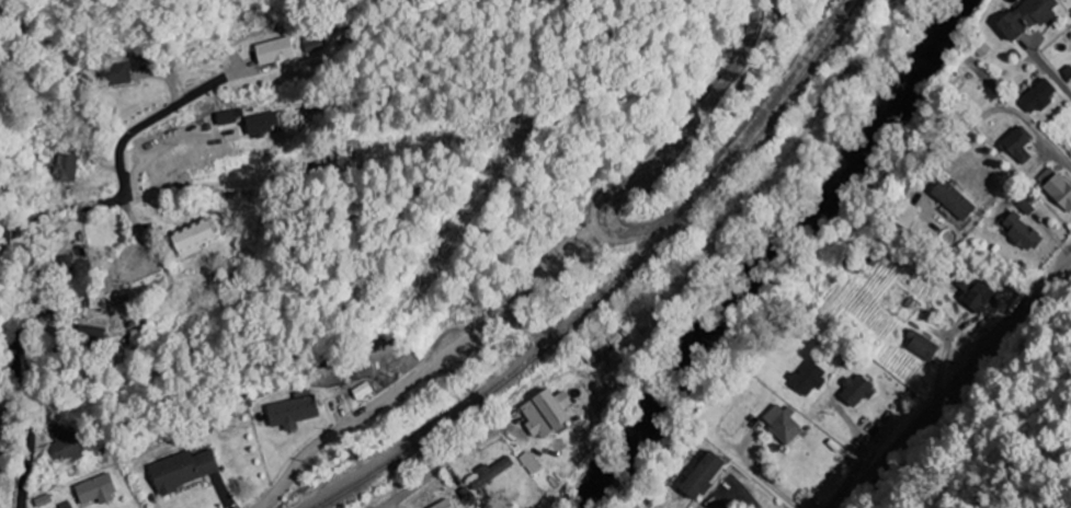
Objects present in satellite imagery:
building: (1029, 18)
building: (316, 43)
building: (278, 50)
building: (116, 69)
road: (1053, 74)
building: (1039, 96)
road: (704, 108)
building: (232, 116)
building: (264, 124)
road: (1038, 135)
building: (1018, 146)
building: (68, 168)
building: (1057, 186)
building: (955, 199)
building: (1026, 206)
building: (1023, 232)
building: (197, 239)
road: (37, 240)
river: (773, 253)
building: (68, 265)
railway: (612, 285)
building: (977, 295)
building: (96, 335)
building: (602, 345)
building: (922, 346)
road: (449, 356)
building: (809, 378)
road: (955, 384)
building: (366, 390)
building: (856, 391)
building: (296, 411)
building: (550, 413)
building: (783, 423)
building: (3, 429)
building: (0, 442)
building: (67, 442)
building: (532, 463)
building: (185, 470)
building: (493, 472)
building: (705, 475)
road: (414, 486)
building: (99, 490)
building: (45, 500)
building: (67, 505)
building: (447, 505)
building: (724, 507)

